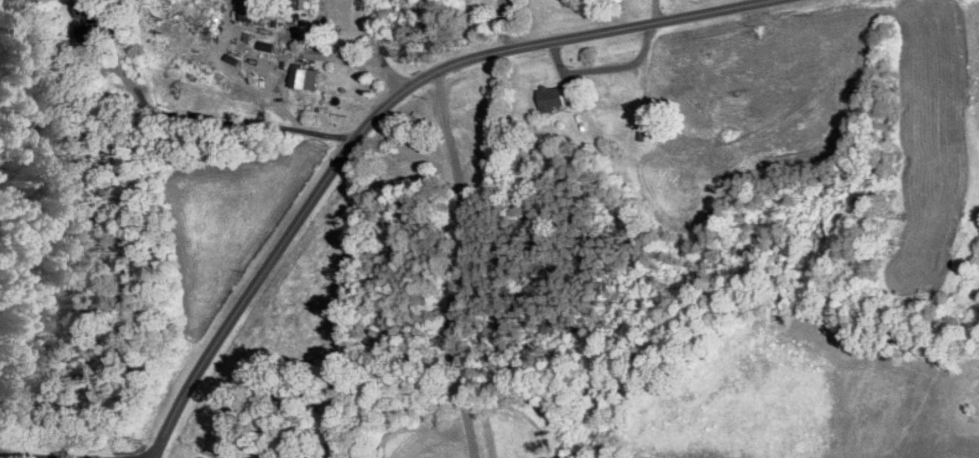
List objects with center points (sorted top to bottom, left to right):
building: (87, 11)
road: (654, 11)
road: (376, 50)
building: (302, 80)
building: (555, 99)
road: (375, 115)
building: (478, 121)
road: (453, 264)
road: (34, 456)

